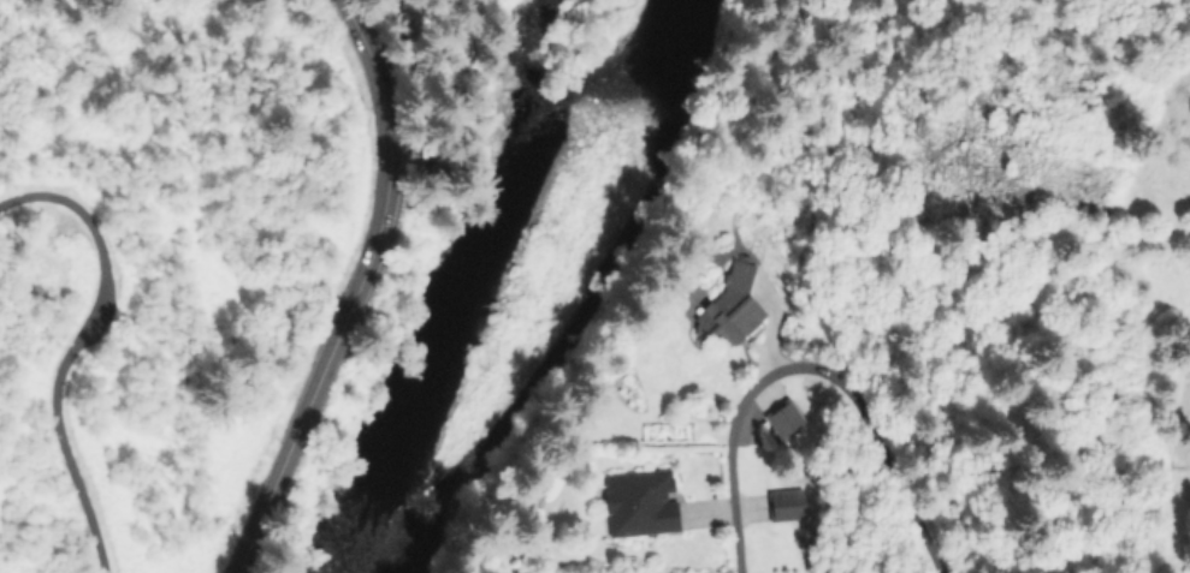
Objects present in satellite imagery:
river: (485, 258)
road: (366, 291)
building: (728, 308)
road: (75, 348)
road: (810, 372)
building: (782, 419)
building: (639, 502)
building: (786, 505)

